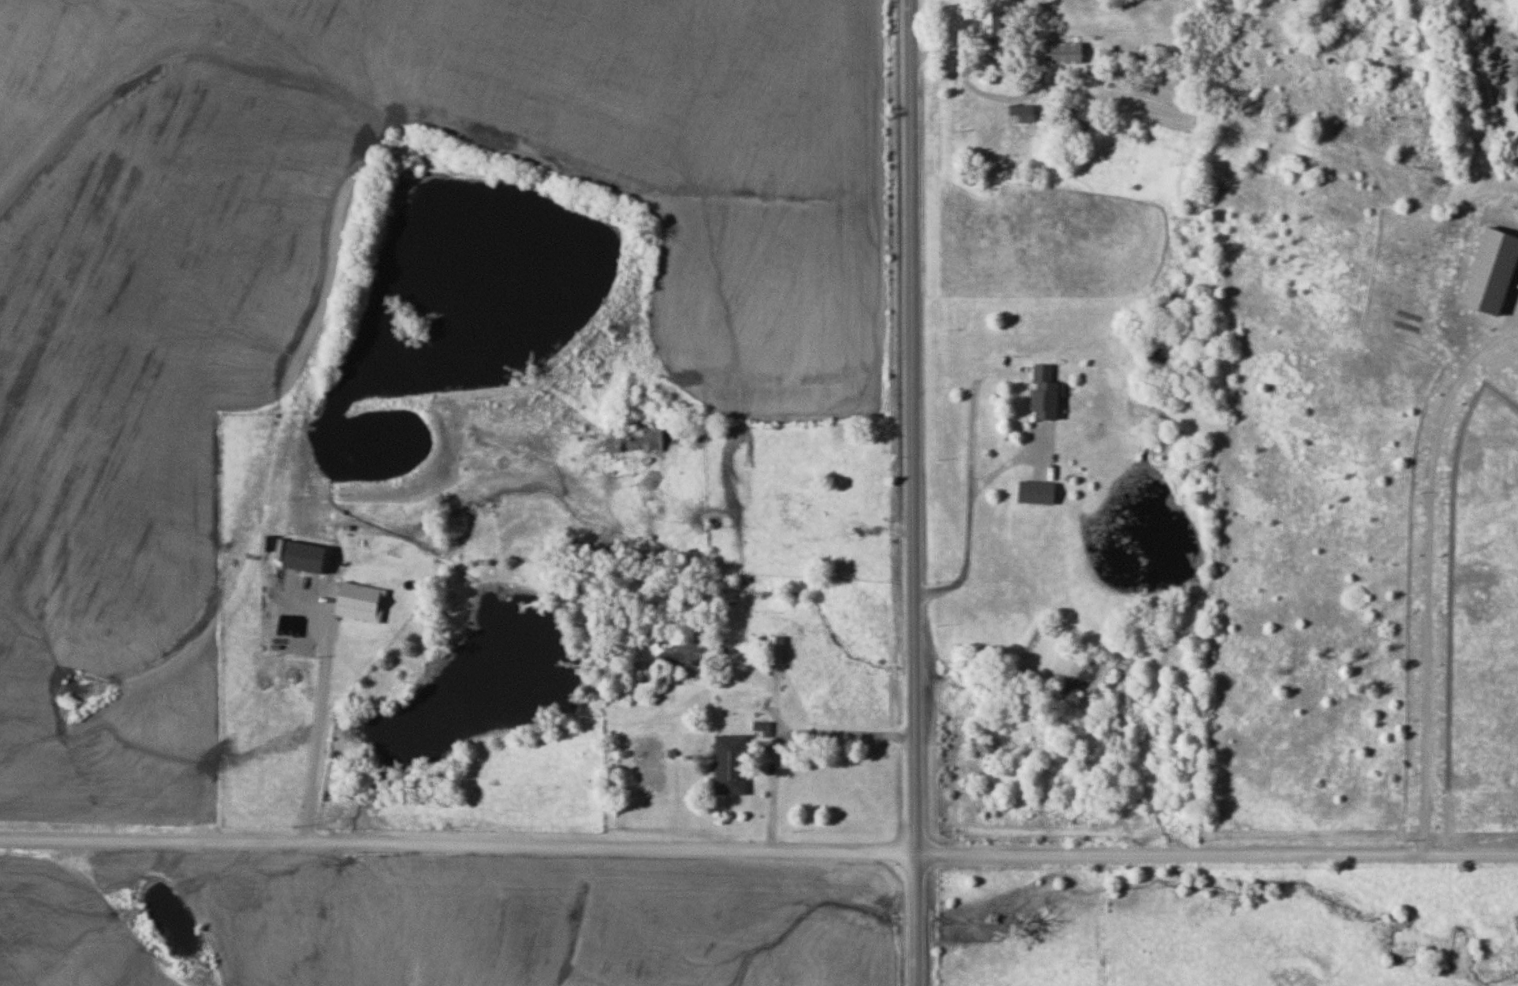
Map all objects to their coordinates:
building: (989, 23)
building: (1061, 52)
road: (963, 81)
building: (1021, 114)
building: (1041, 392)
building: (632, 440)
road: (971, 484)
building: (1033, 491)
road: (911, 493)
building: (775, 647)
building: (672, 671)
road: (836, 734)
road: (318, 735)
building: (728, 763)
road: (758, 851)

